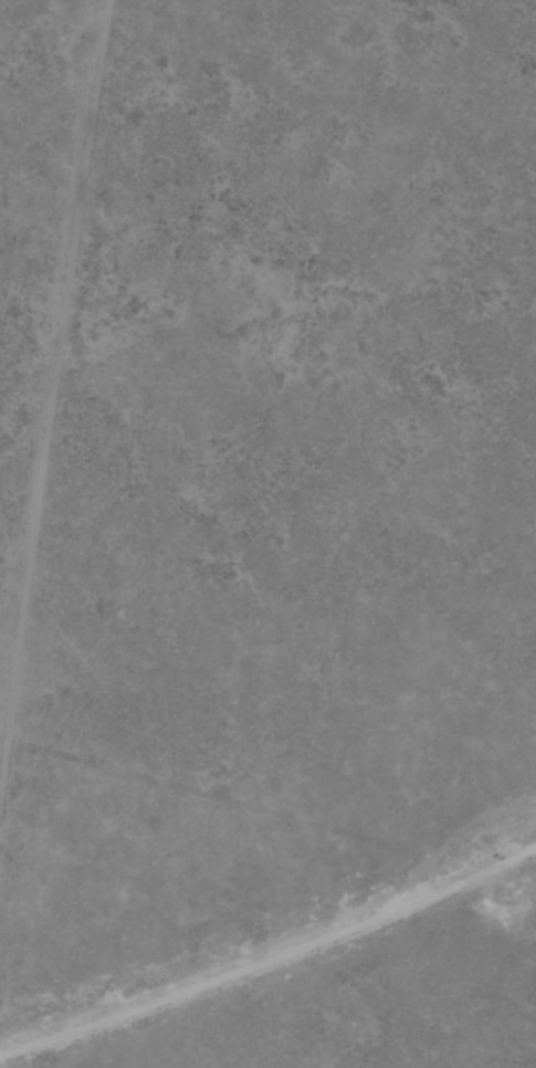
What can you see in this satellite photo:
road: (271, 951)

